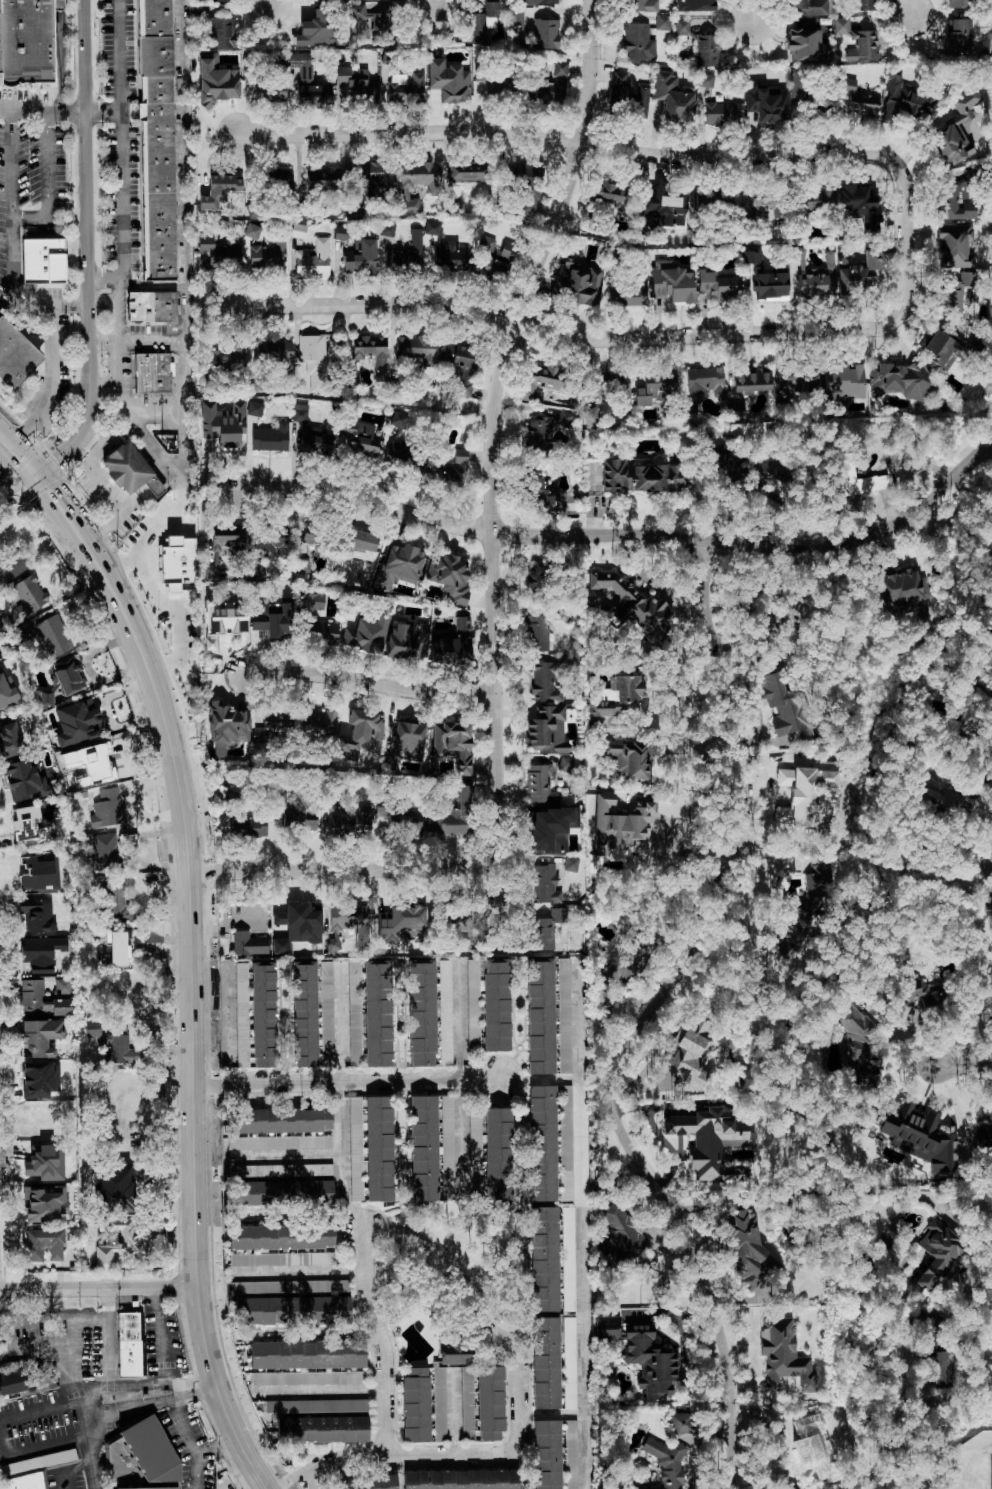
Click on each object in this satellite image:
building: (222, 0)
road: (270, 1)
building: (537, 1)
building: (957, 3)
building: (854, 4)
building: (642, 5)
building: (700, 7)
building: (812, 7)
road: (914, 8)
road: (754, 12)
building: (516, 16)
building: (371, 18)
building: (481, 20)
building: (662, 21)
building: (681, 26)
building: (320, 29)
building: (219, 33)
building: (545, 33)
building: (959, 34)
building: (856, 39)
building: (0, 41)
building: (29, 41)
building: (637, 41)
building: (805, 45)
building: (707, 49)
building: (296, 75)
building: (705, 79)
building: (449, 80)
building: (551, 80)
building: (216, 83)
building: (357, 83)
building: (799, 83)
building: (406, 88)
building: (619, 88)
building: (269, 89)
building: (672, 97)
building: (903, 97)
building: (856, 98)
building: (766, 101)
building: (965, 104)
road: (43, 109)
road: (104, 110)
building: (721, 112)
building: (157, 139)
building: (949, 144)
road: (607, 146)
road: (122, 153)
road: (181, 167)
building: (525, 169)
building: (468, 170)
building: (422, 175)
building: (376, 177)
road: (46, 178)
building: (325, 178)
building: (219, 189)
building: (857, 192)
road: (89, 194)
building: (958, 195)
building: (661, 198)
building: (527, 200)
building: (761, 201)
building: (807, 201)
building: (408, 206)
building: (453, 207)
road: (8, 208)
building: (432, 227)
building: (387, 229)
building: (252, 230)
building: (298, 230)
building: (954, 245)
building: (220, 250)
building: (41, 251)
building: (270, 255)
building: (451, 255)
building: (361, 257)
building: (406, 257)
building: (496, 259)
building: (314, 260)
road: (538, 265)
building: (860, 273)
building: (814, 275)
building: (671, 282)
building: (580, 283)
building: (770, 284)
building: (718, 285)
building: (626, 290)
building: (956, 290)
building: (152, 306)
road: (45, 307)
road: (610, 337)
building: (414, 350)
building: (275, 351)
building: (940, 351)
building: (371, 352)
building: (459, 354)
building: (16, 356)
building: (228, 357)
building: (314, 360)
road: (183, 368)
building: (152, 372)
building: (540, 378)
road: (49, 379)
building: (751, 379)
building: (898, 379)
building: (843, 381)
road: (105, 382)
building: (795, 382)
road: (118, 384)
building: (701, 384)
building: (656, 386)
building: (613, 388)
building: (256, 408)
road: (152, 411)
building: (299, 412)
building: (564, 417)
road: (76, 434)
building: (226, 435)
building: (271, 437)
building: (357, 438)
building: (315, 441)
road: (20, 446)
building: (451, 466)
traffic signals: (42, 468)
building: (127, 468)
road: (95, 469)
building: (640, 476)
building: (856, 479)
building: (543, 484)
road: (21, 485)
road: (371, 500)
road: (136, 502)
road: (68, 507)
road: (168, 518)
building: (310, 537)
building: (227, 539)
building: (362, 544)
road: (760, 548)
building: (280, 550)
building: (177, 563)
building: (11, 567)
building: (450, 577)
building: (534, 582)
building: (901, 591)
building: (28, 594)
building: (628, 603)
road: (171, 604)
building: (315, 616)
building: (273, 619)
building: (772, 624)
building: (539, 631)
building: (53, 634)
building: (366, 634)
building: (20, 637)
building: (407, 640)
building: (451, 643)
building: (69, 674)
building: (547, 679)
road: (371, 687)
building: (5, 690)
building: (620, 695)
building: (45, 698)
building: (785, 706)
building: (77, 721)
building: (319, 721)
building: (273, 726)
building: (226, 727)
building: (546, 729)
building: (362, 733)
building: (9, 736)
building: (409, 739)
road: (496, 742)
building: (453, 744)
building: (628, 757)
building: (89, 763)
building: (565, 764)
building: (23, 779)
building: (539, 783)
building: (807, 795)
building: (106, 806)
building: (453, 815)
building: (299, 817)
building: (399, 819)
building: (351, 821)
building: (28, 823)
building: (618, 823)
building: (247, 825)
building: (549, 828)
building: (104, 850)
road: (692, 851)
building: (570, 863)
road: (345, 868)
building: (36, 873)
building: (544, 883)
building: (115, 898)
building: (809, 903)
building: (35, 917)
building: (351, 920)
building: (402, 923)
building: (297, 925)
building: (548, 926)
building: (249, 943)
building: (115, 947)
building: (40, 952)
building: (921, 999)
building: (40, 1001)
building: (473, 1003)
building: (497, 1004)
building: (445, 1011)
building: (421, 1012)
building: (305, 1013)
building: (327, 1013)
building: (370, 1013)
building: (242, 1014)
building: (264, 1014)
building: (540, 1015)
building: (564, 1015)
road: (192, 1017)
road: (340, 1022)
road: (459, 1022)
road: (645, 1024)
road: (580, 1025)
building: (39, 1036)
building: (860, 1038)
building: (111, 1042)
building: (689, 1060)
road: (964, 1064)
building: (37, 1079)
road: (347, 1080)
building: (283, 1120)
building: (984, 1134)
building: (916, 1135)
road: (462, 1137)
building: (710, 1140)
building: (542, 1141)
building: (565, 1141)
building: (280, 1142)
building: (423, 1147)
building: (447, 1147)
building: (371, 1148)
building: (499, 1153)
road: (287, 1155)
building: (475, 1155)
road: (340, 1157)
building: (126, 1176)
building: (283, 1183)
building: (121, 1202)
building: (44, 1203)
building: (621, 1232)
building: (282, 1236)
road: (580, 1239)
building: (126, 1241)
building: (43, 1244)
building: (937, 1250)
building: (749, 1254)
building: (281, 1258)
building: (567, 1258)
building: (544, 1259)
road: (99, 1284)
building: (291, 1286)
building: (293, 1310)
road: (311, 1332)
road: (161, 1335)
road: (107, 1339)
road: (377, 1339)
building: (128, 1344)
building: (456, 1351)
building: (308, 1354)
building: (642, 1354)
building: (783, 1354)
building: (545, 1362)
building: (569, 1362)
building: (938, 1366)
building: (308, 1377)
building: (13, 1383)
road: (322, 1391)
road: (111, 1393)
road: (437, 1399)
building: (439, 1403)
building: (483, 1403)
building: (416, 1404)
building: (320, 1420)
building: (681, 1421)
road: (6, 1434)
road: (195, 1436)
road: (518, 1448)
building: (546, 1454)
building: (569, 1454)
building: (143, 1458)
building: (664, 1462)
road: (331, 1463)
road: (70, 1468)
building: (433, 1480)

